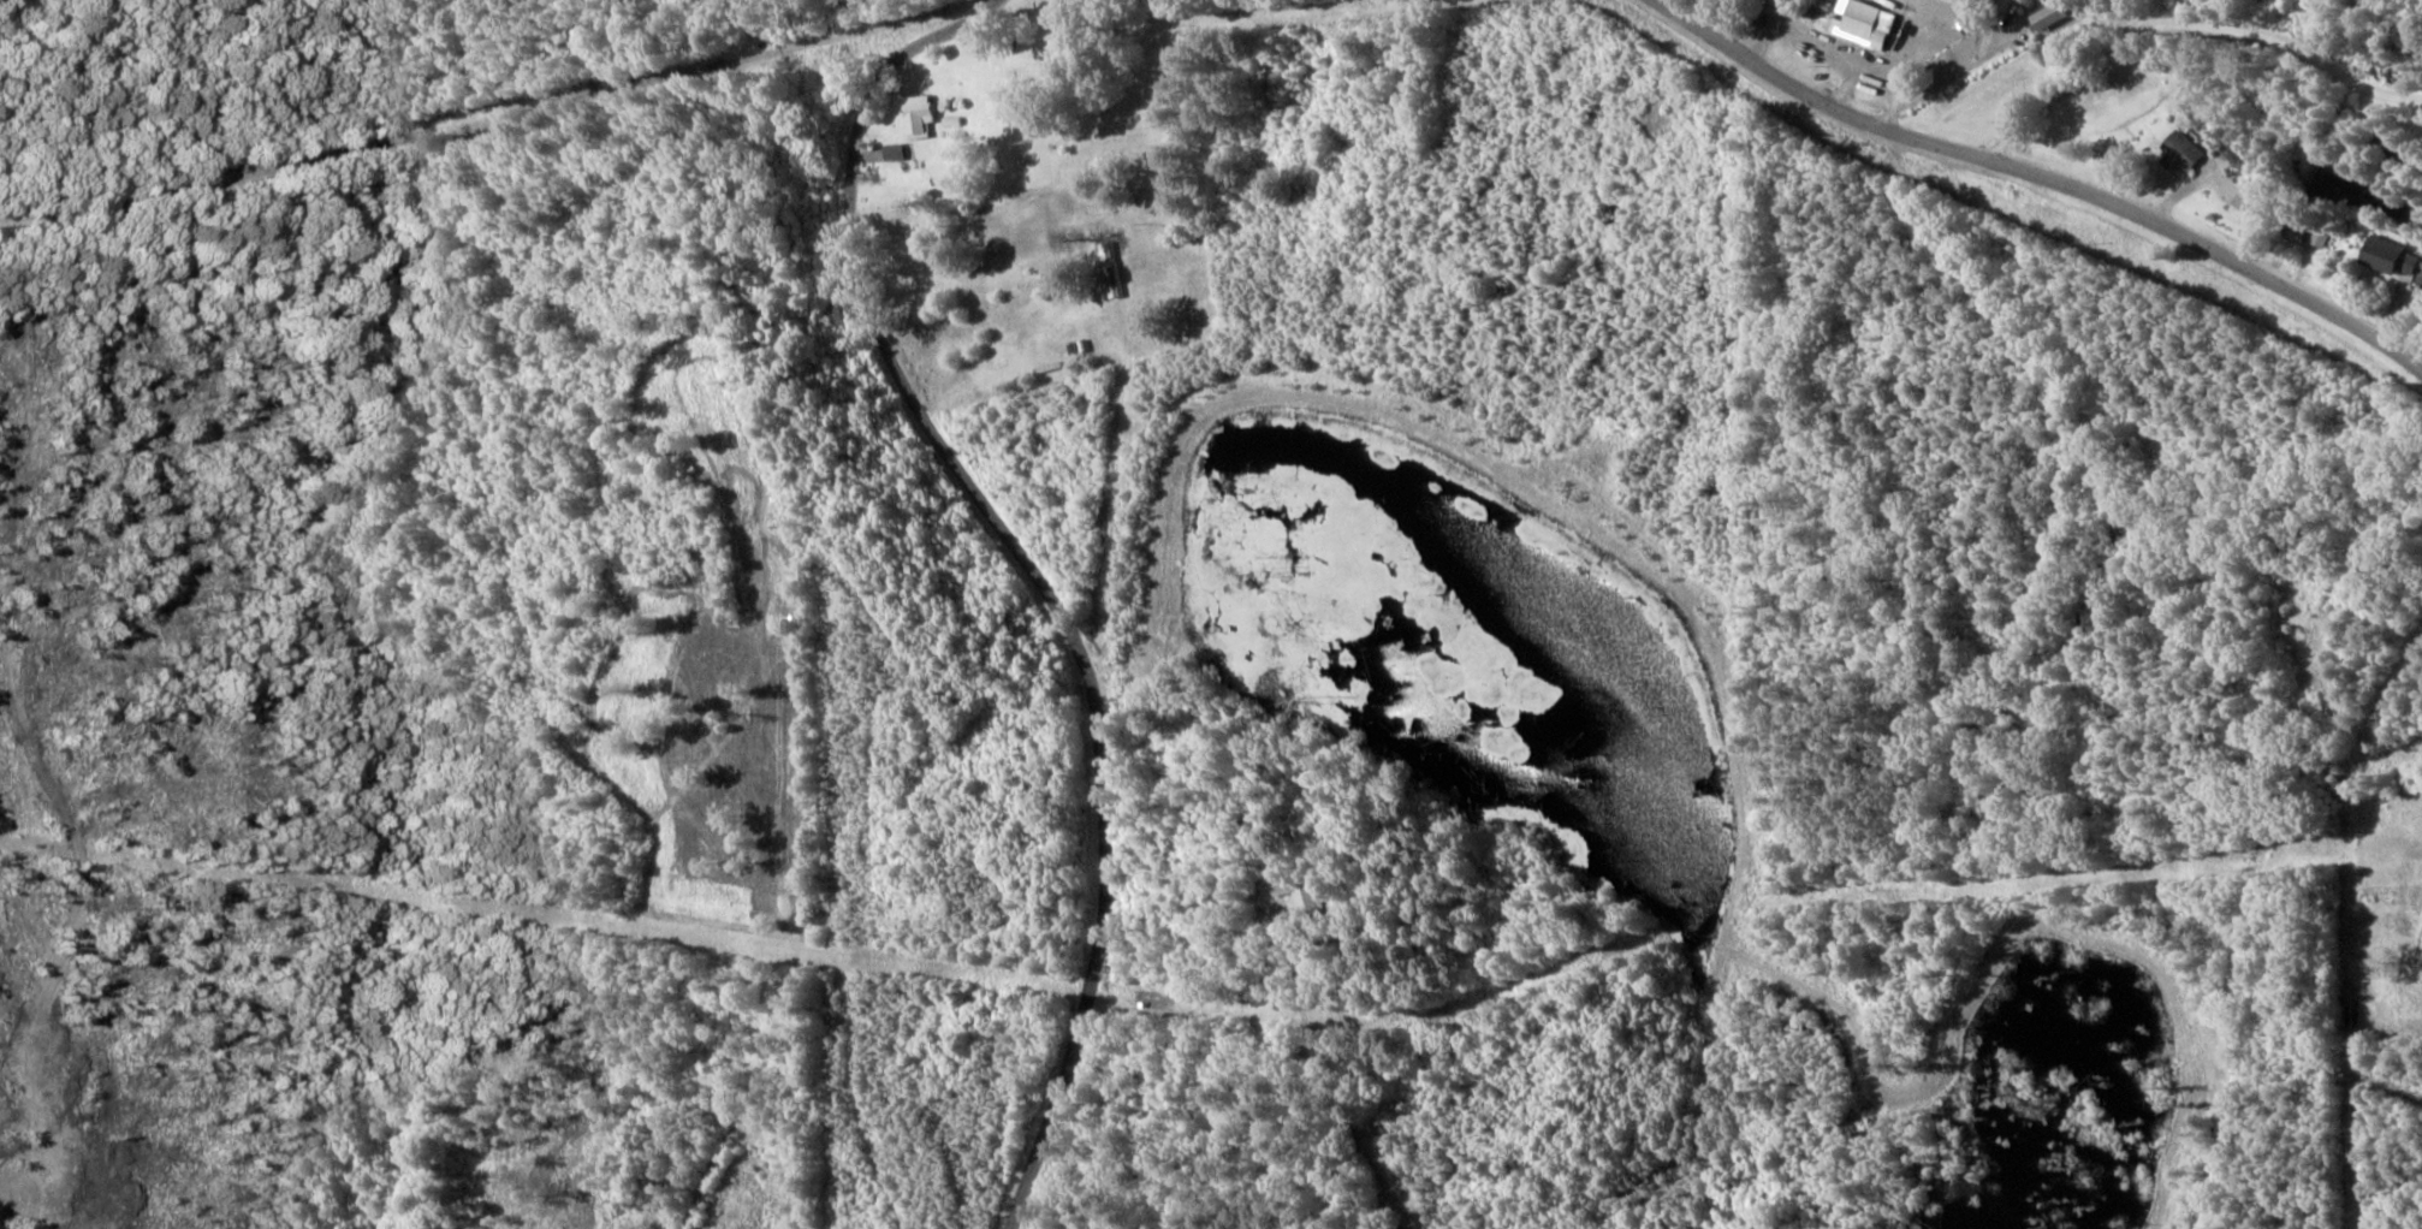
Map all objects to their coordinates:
building: (2046, 17)
building: (1860, 23)
building: (925, 114)
building: (898, 150)
building: (2180, 153)
road: (2042, 177)
building: (2233, 194)
road: (1027, 569)
road: (2353, 939)

